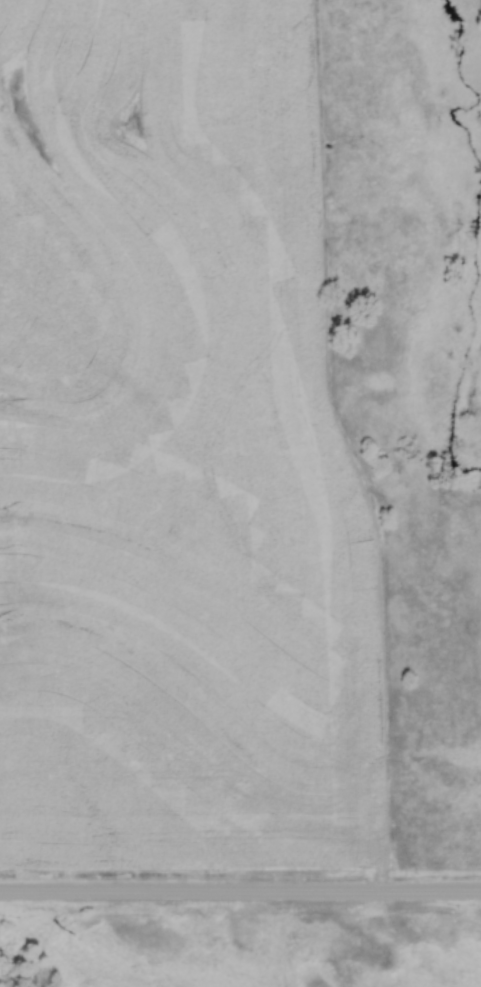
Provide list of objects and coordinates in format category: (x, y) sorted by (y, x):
road: (240, 884)

